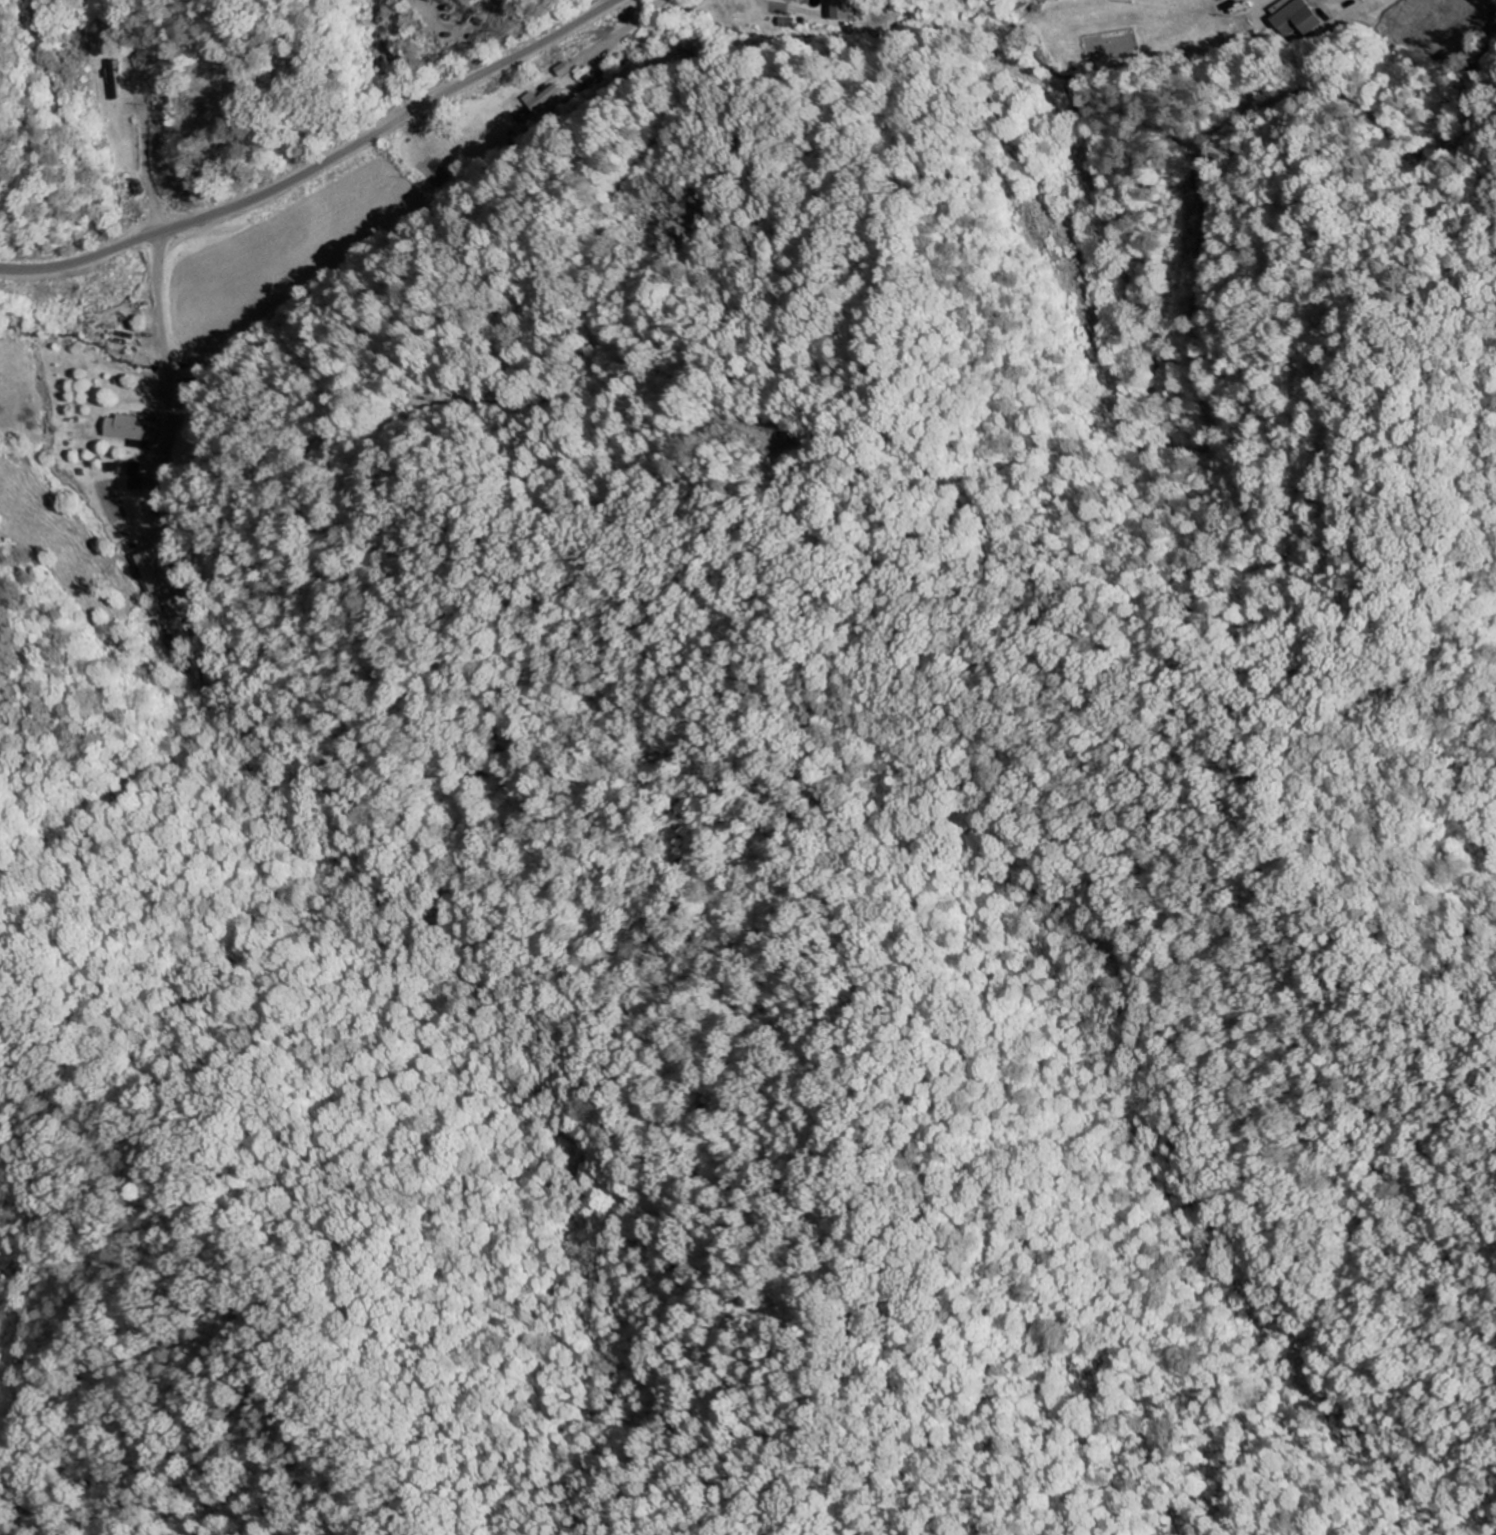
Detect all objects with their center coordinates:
building: (799, 0)
building: (845, 10)
building: (1291, 18)
building: (116, 78)
road: (323, 163)
building: (133, 431)
building: (135, 470)
building: (159, 570)

